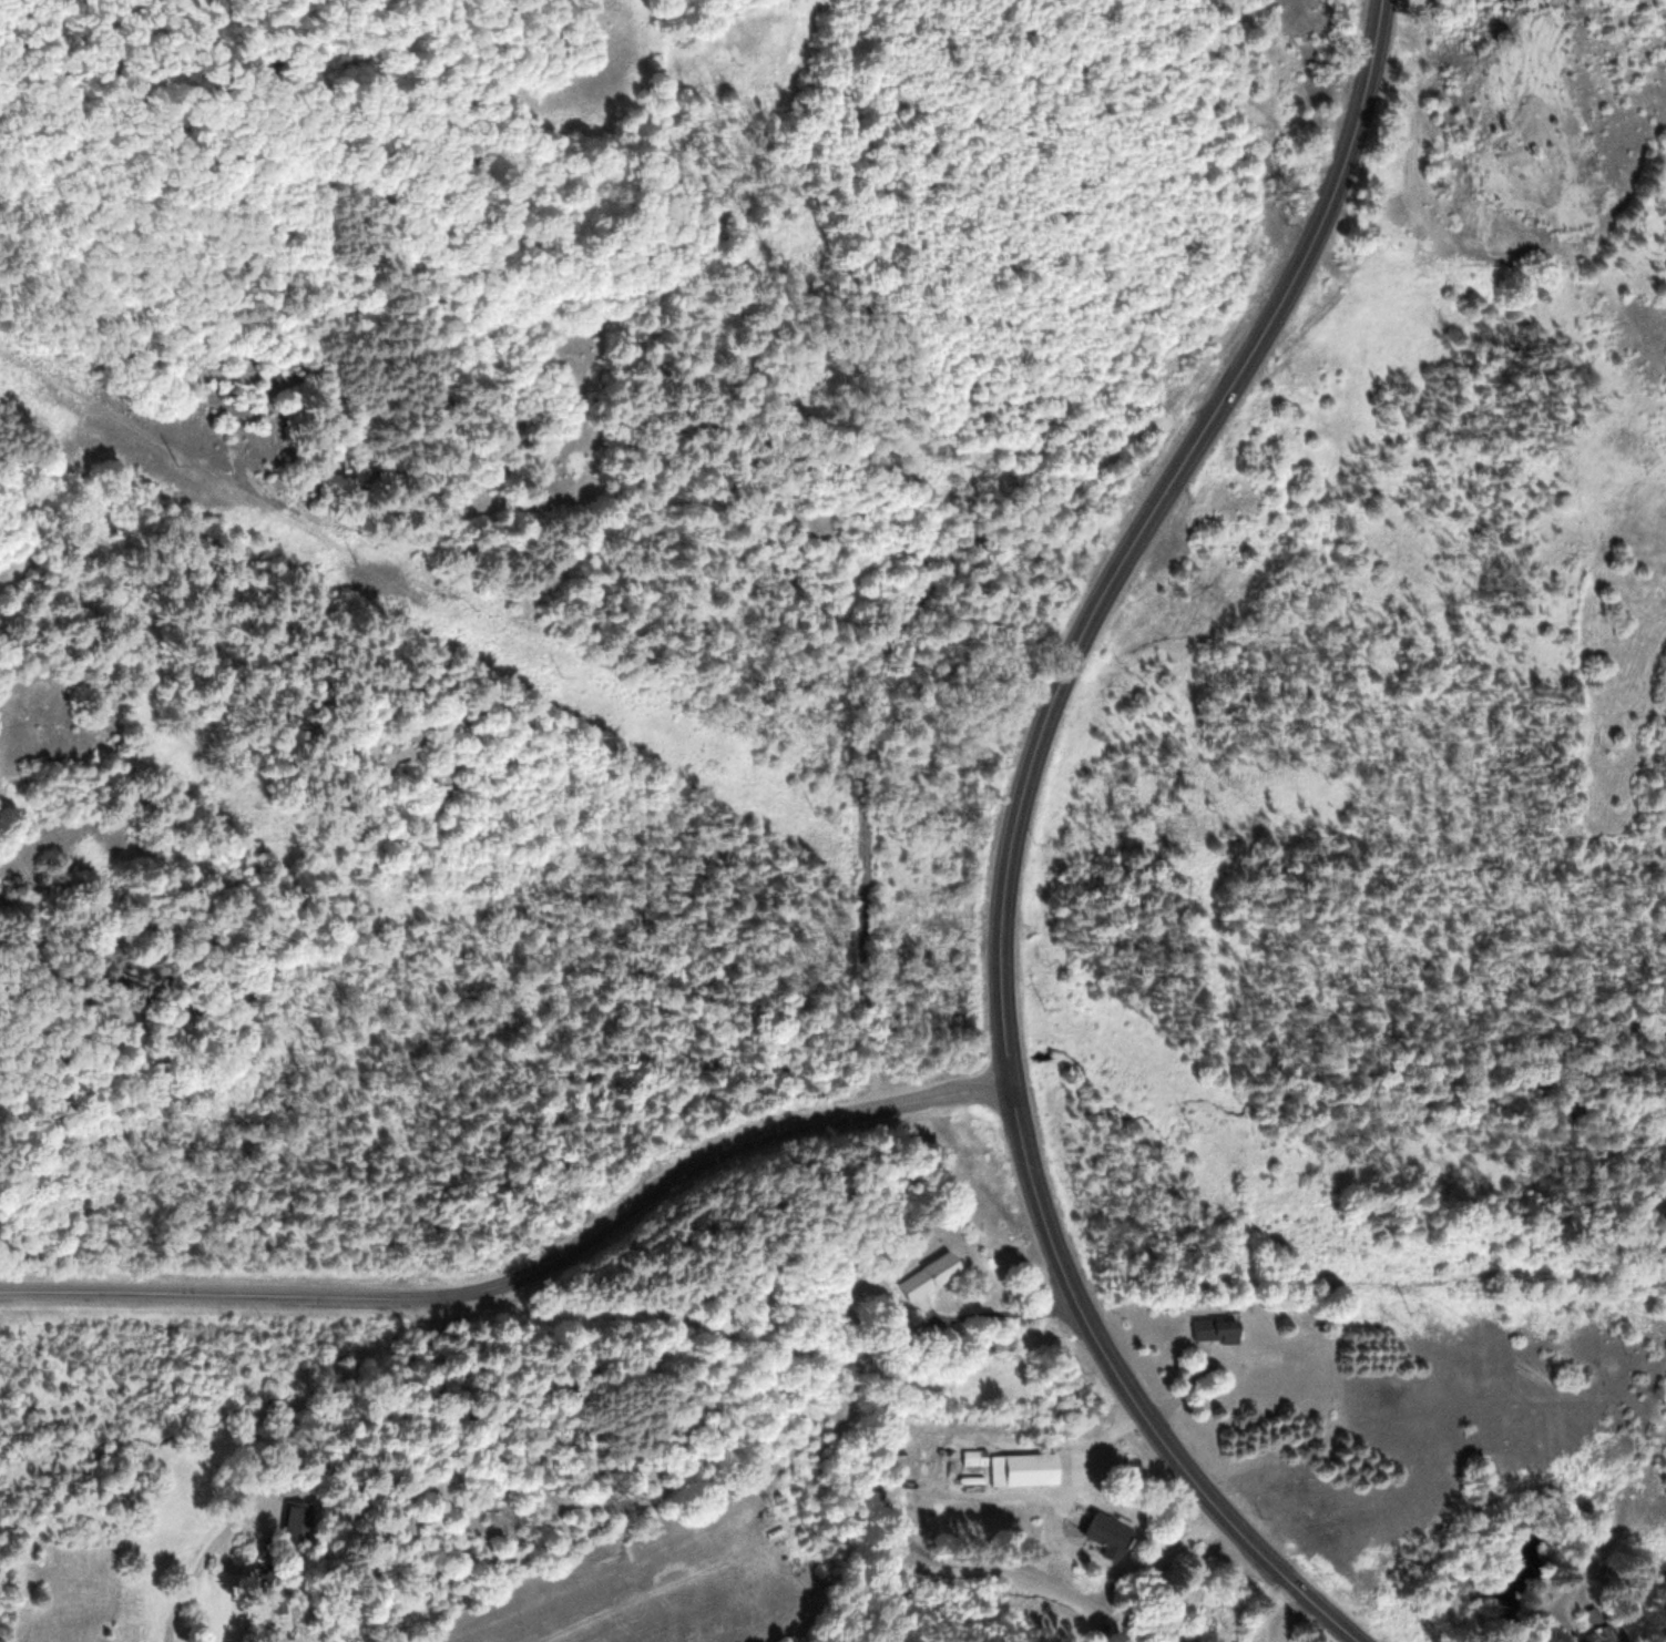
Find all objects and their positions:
road: (1013, 837)
road: (860, 874)
building: (934, 1276)
road: (529, 1282)
building: (1217, 1332)
road: (351, 1412)
building: (971, 1458)
building: (1026, 1470)
building: (1111, 1534)
road: (1284, 1616)

